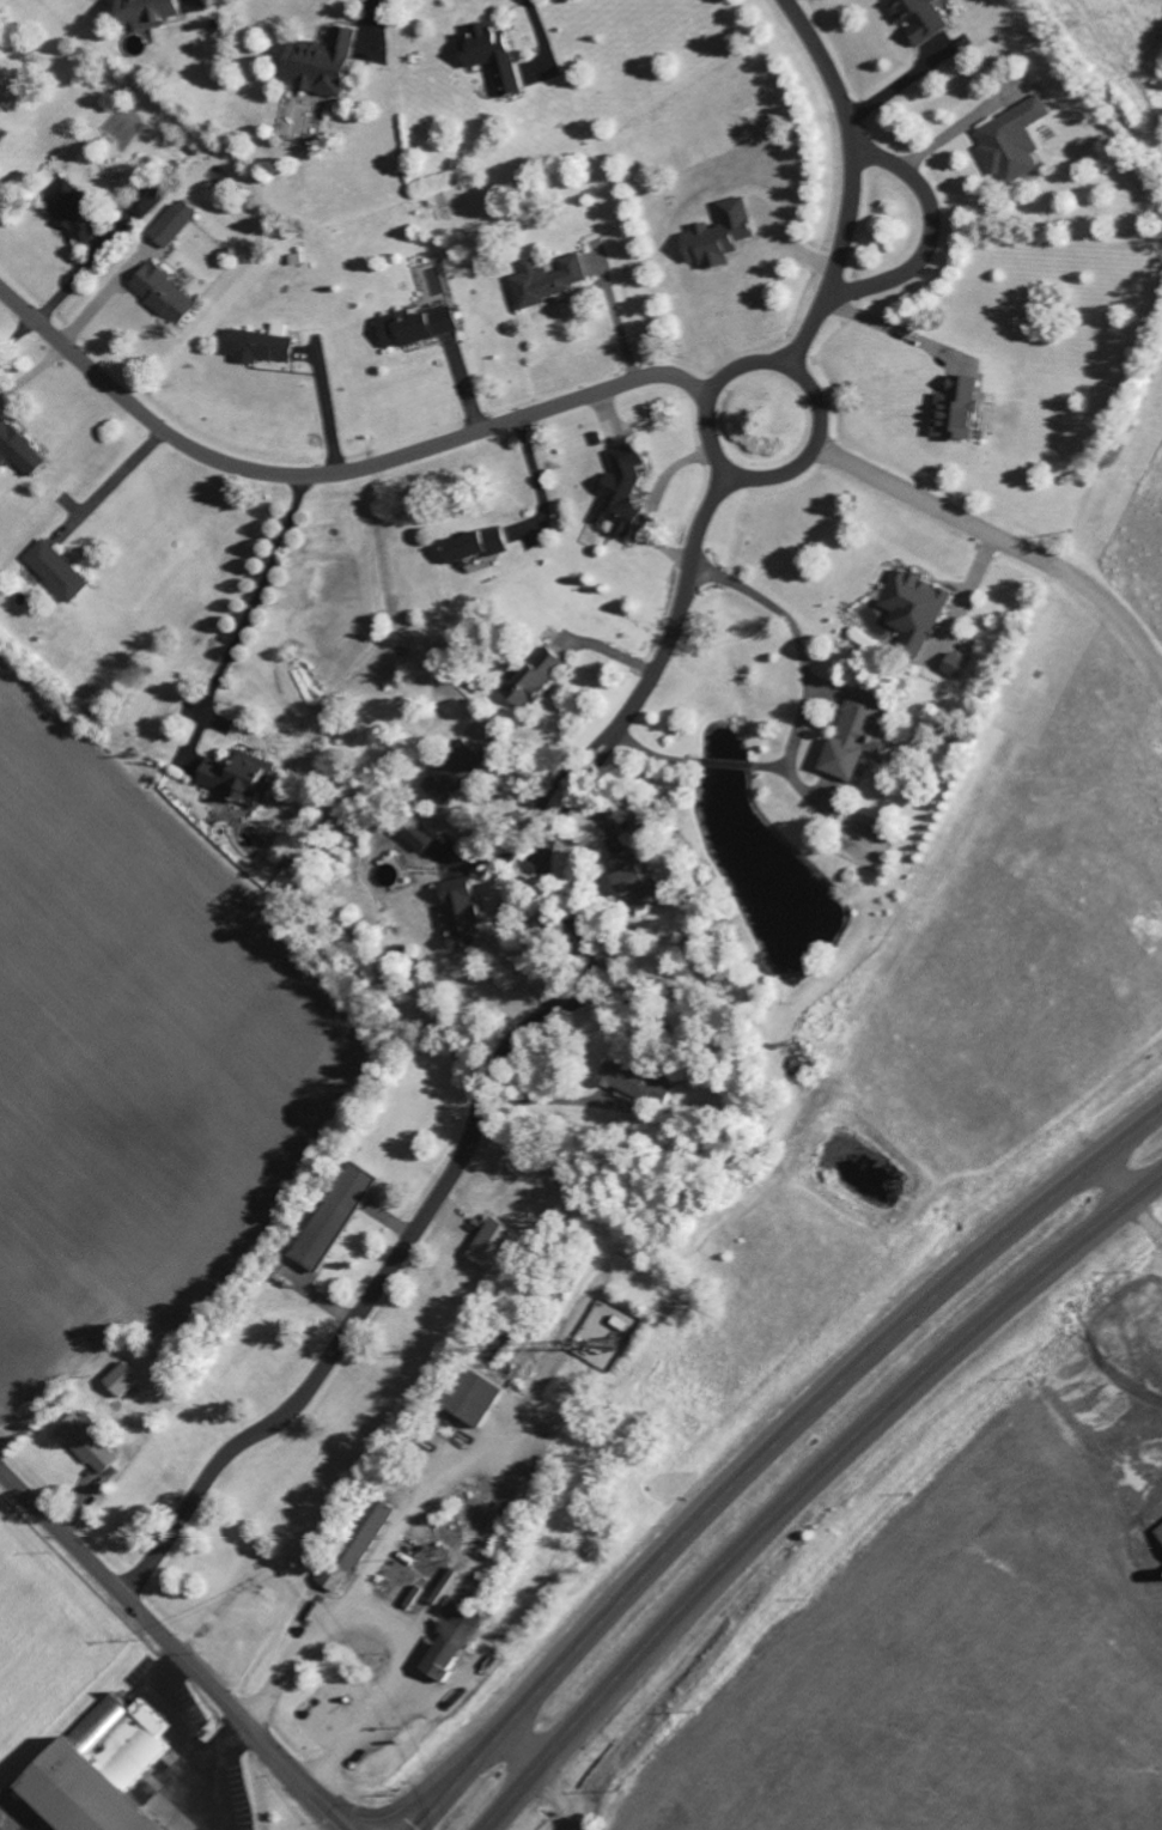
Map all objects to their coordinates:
building: (141, 12)
building: (917, 18)
road: (541, 24)
building: (488, 54)
road: (895, 95)
building: (1, 133)
building: (1009, 140)
road: (847, 181)
building: (141, 201)
building: (67, 209)
building: (170, 221)
building: (716, 233)
road: (926, 241)
building: (546, 279)
building: (160, 292)
building: (412, 327)
road: (898, 328)
building: (255, 343)
road: (335, 408)
building: (953, 409)
road: (814, 443)
building: (18, 449)
road: (331, 472)
road: (108, 481)
building: (617, 494)
road: (998, 537)
building: (470, 545)
building: (54, 570)
road: (266, 597)
building: (913, 610)
road: (813, 655)
building: (954, 664)
building: (530, 682)
building: (847, 736)
building: (452, 776)
building: (415, 834)
building: (622, 873)
building: (637, 898)
building: (457, 916)
road: (499, 1059)
building: (620, 1077)
road: (1106, 1181)
building: (329, 1214)
building: (489, 1242)
building: (117, 1378)
building: (468, 1394)
building: (84, 1442)
road: (766, 1445)
road: (809, 1488)
building: (1157, 1532)
building: (365, 1537)
road: (384, 1633)
building: (448, 1641)
road: (175, 1650)
road: (188, 1740)
road: (224, 1743)
road: (521, 1745)
building: (102, 1774)
road: (555, 1798)

